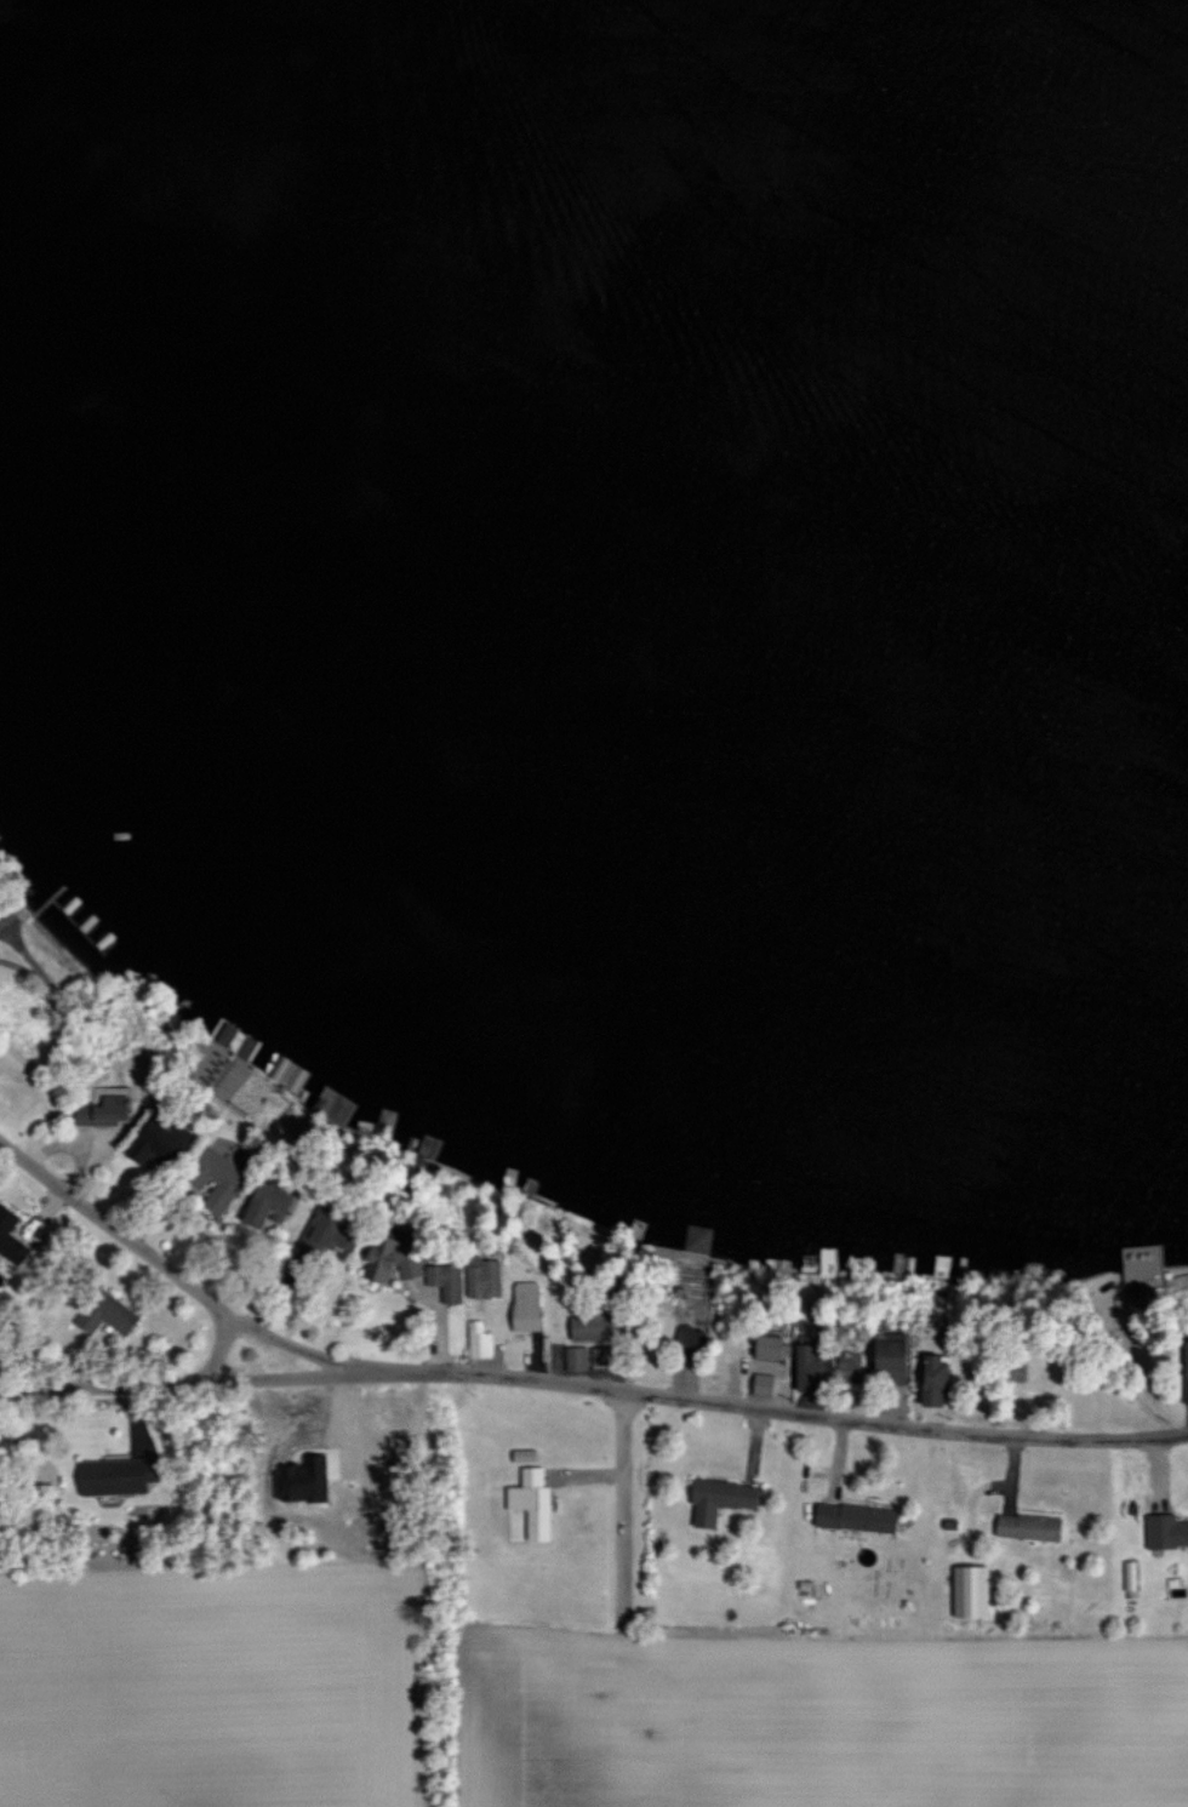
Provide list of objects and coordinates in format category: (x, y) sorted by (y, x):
river: (553, 573)
building: (223, 1034)
building: (331, 1104)
building: (99, 1111)
building: (155, 1144)
building: (212, 1177)
building: (261, 1205)
road: (110, 1229)
building: (695, 1239)
building: (389, 1262)
building: (480, 1277)
building: (442, 1281)
building: (524, 1305)
building: (102, 1313)
building: (582, 1328)
building: (687, 1337)
building: (476, 1339)
building: (764, 1346)
building: (572, 1357)
building: (886, 1359)
building: (844, 1366)
building: (807, 1367)
building: (1010, 1372)
building: (1183, 1373)
road: (272, 1377)
building: (929, 1380)
road: (135, 1384)
building: (759, 1384)
road: (701, 1403)
building: (521, 1456)
road: (622, 1459)
building: (108, 1476)
building: (298, 1481)
building: (716, 1499)
building: (530, 1503)
building: (851, 1517)
building: (1024, 1526)
building: (1164, 1531)
building: (1129, 1576)
building: (967, 1591)

